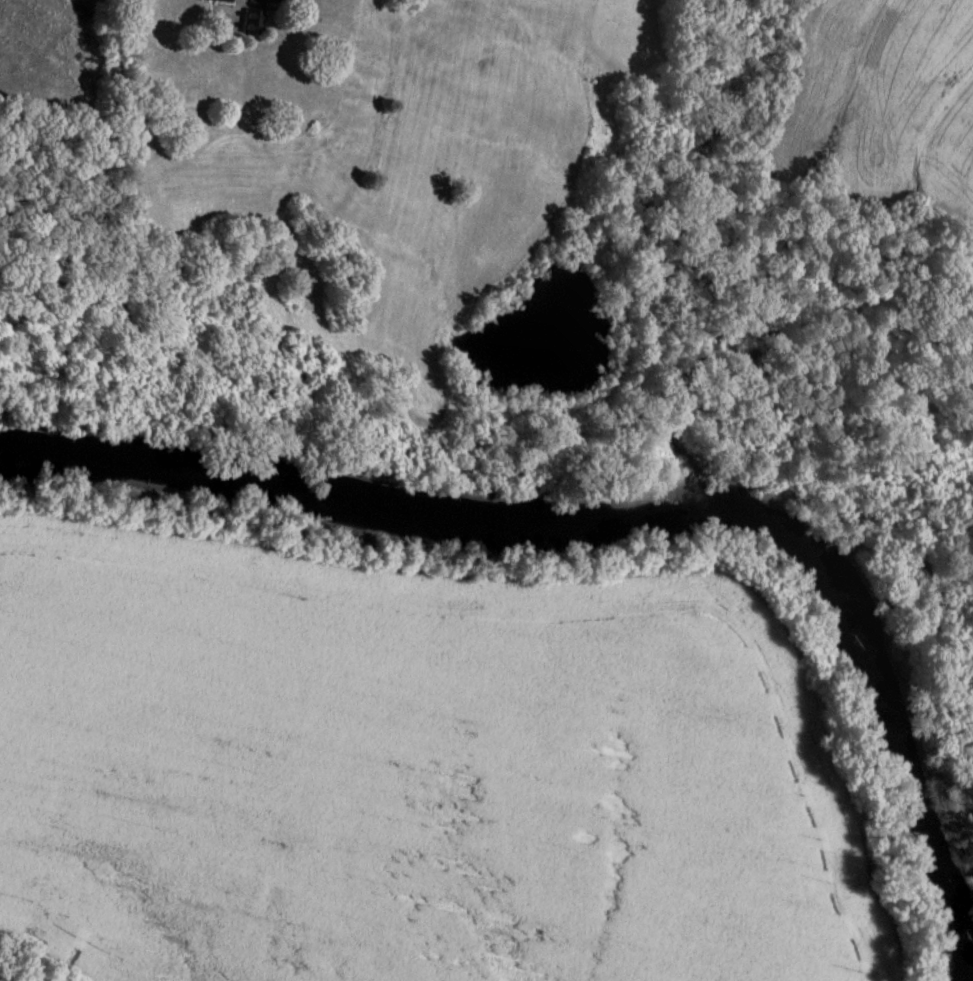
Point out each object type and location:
building: (225, 1)
building: (283, 2)
road: (239, 9)

